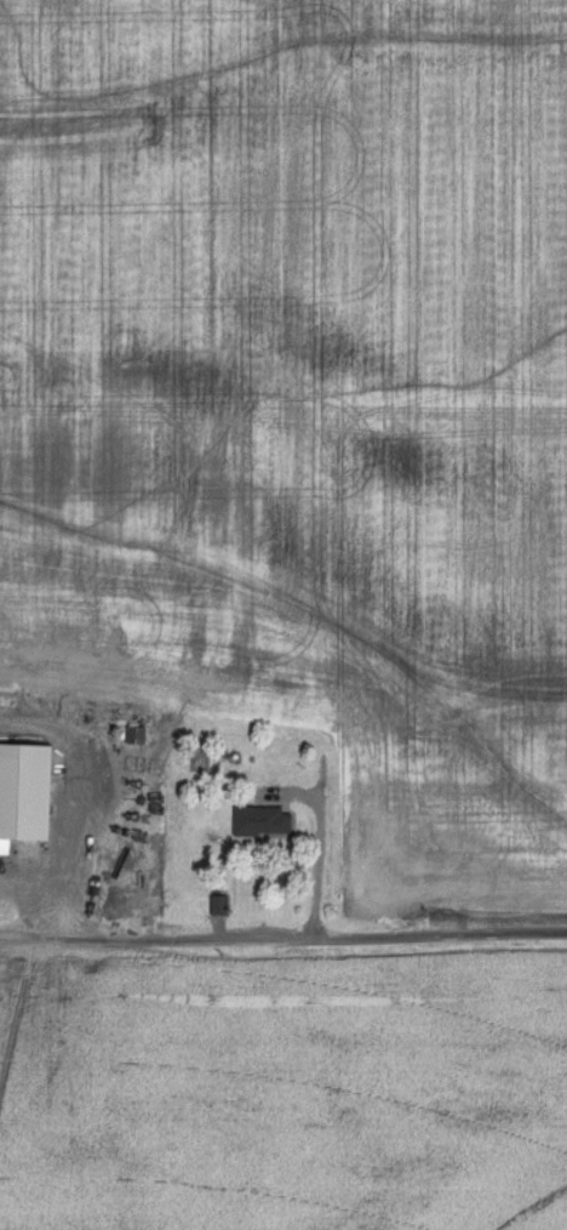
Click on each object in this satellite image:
building: (22, 792)
building: (259, 821)
road: (84, 839)
road: (322, 847)
road: (31, 894)
road: (283, 939)

